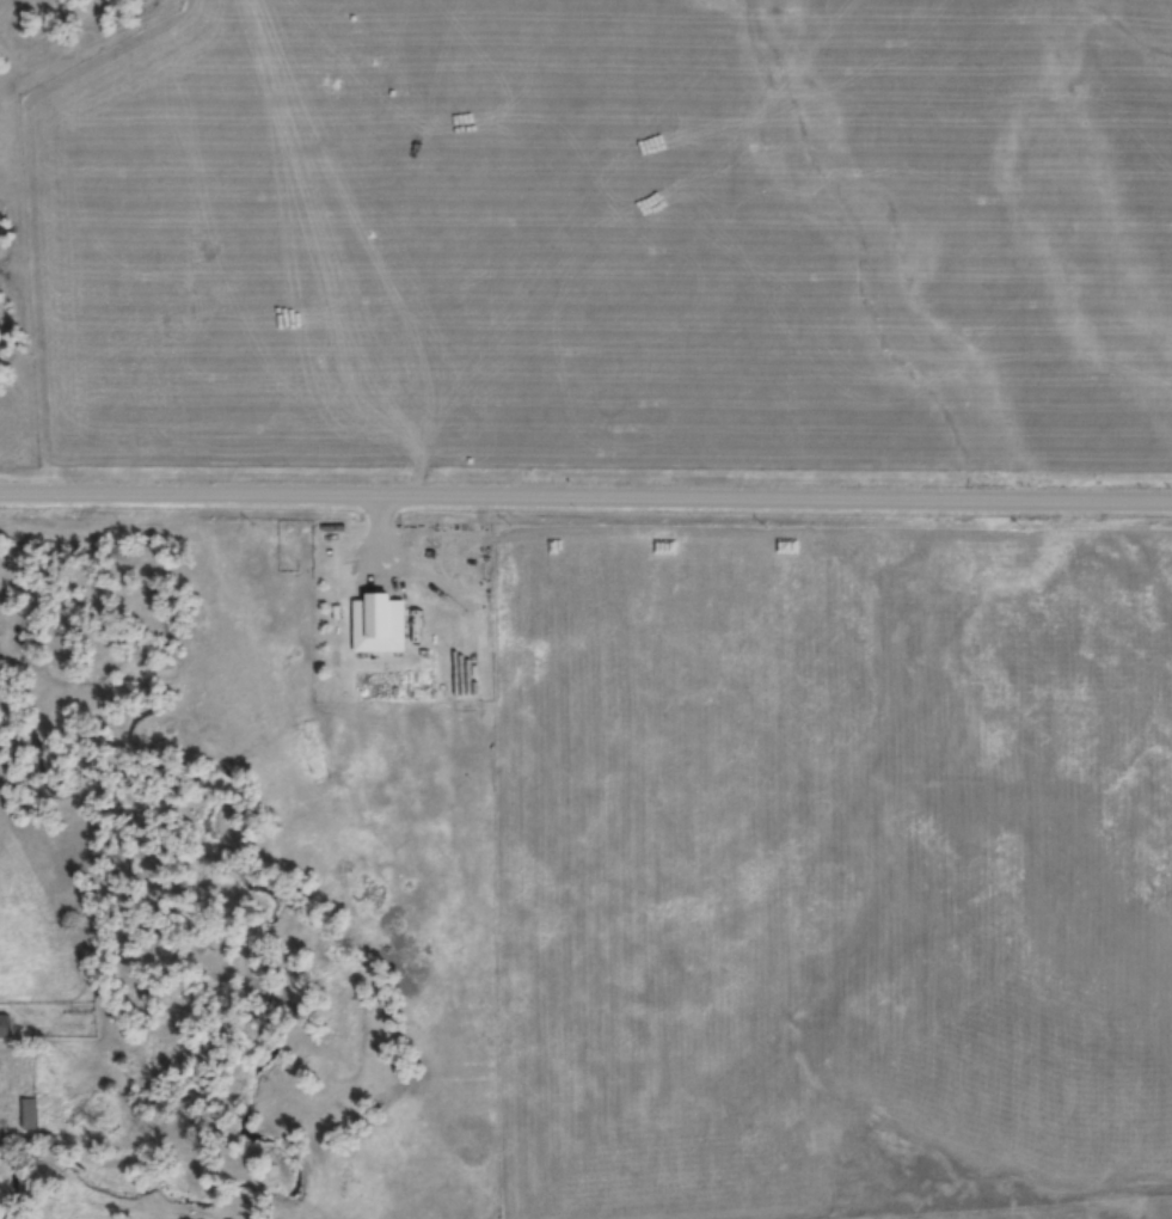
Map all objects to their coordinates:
road: (585, 497)
building: (374, 625)
building: (2, 1028)
building: (24, 1115)

